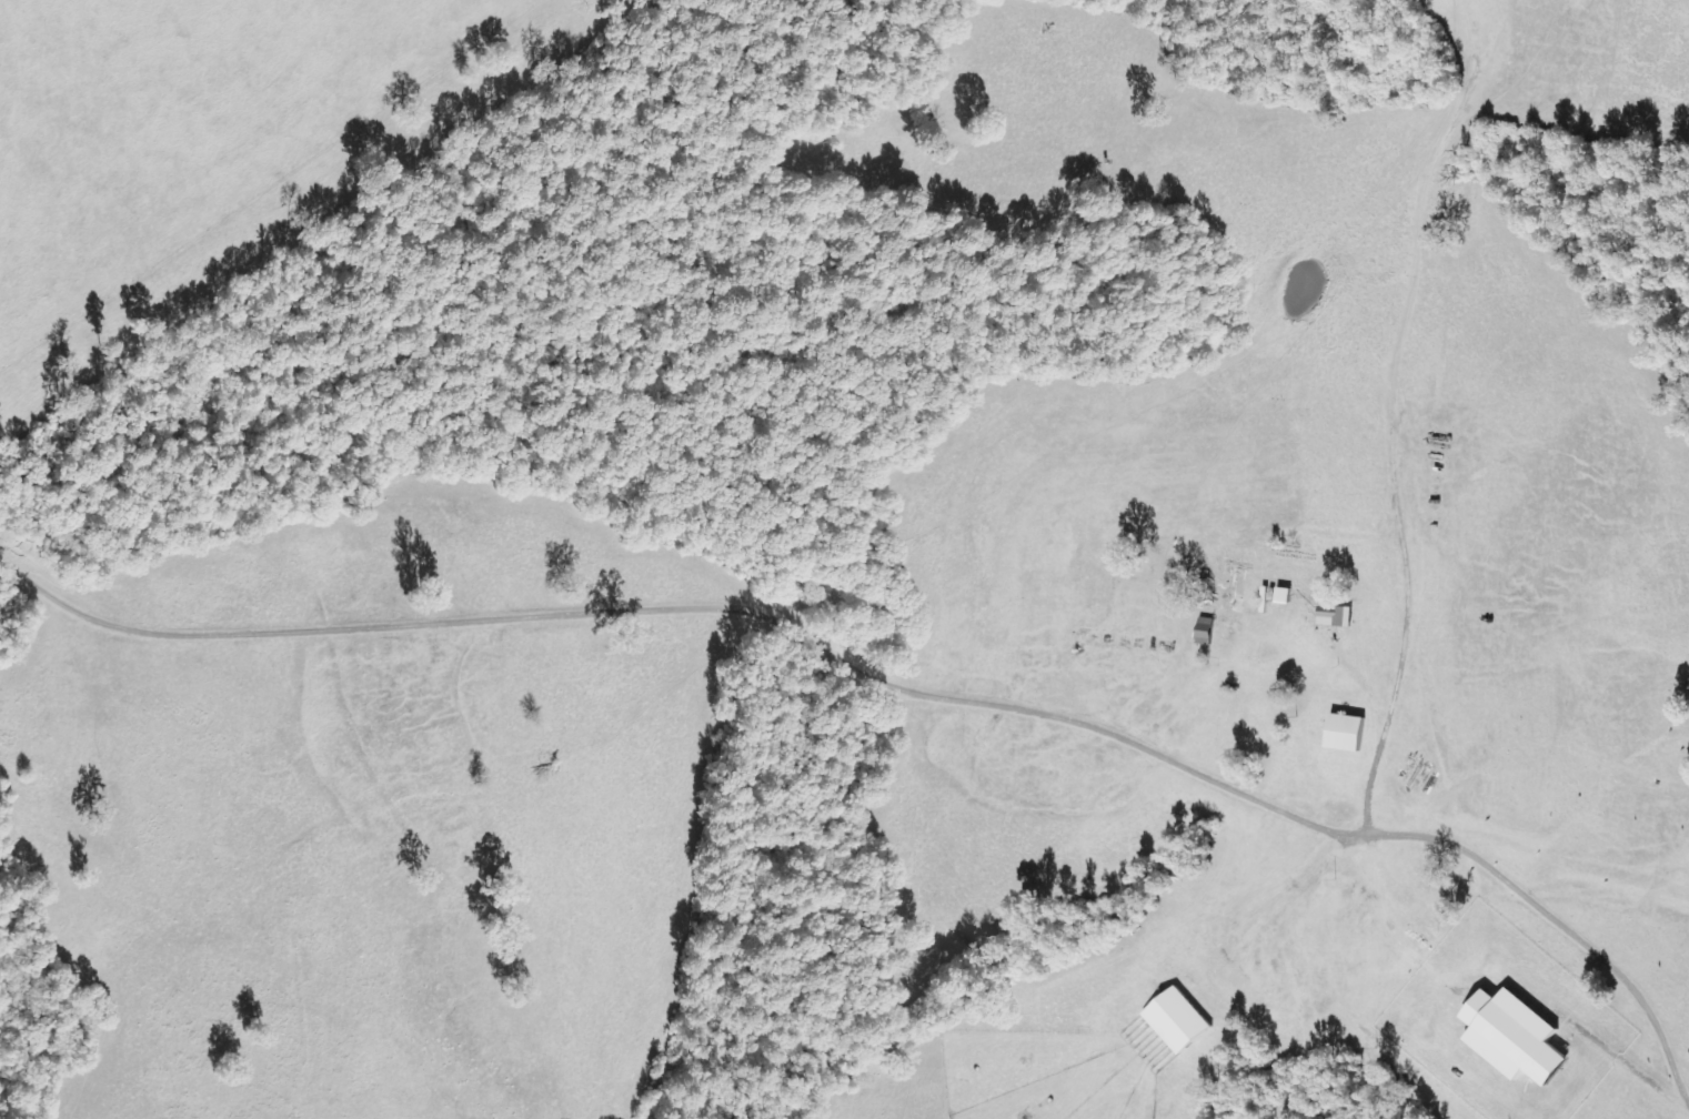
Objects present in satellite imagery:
building: (1337, 617)
building: (1348, 733)
building: (1180, 1020)
building: (1518, 1037)

